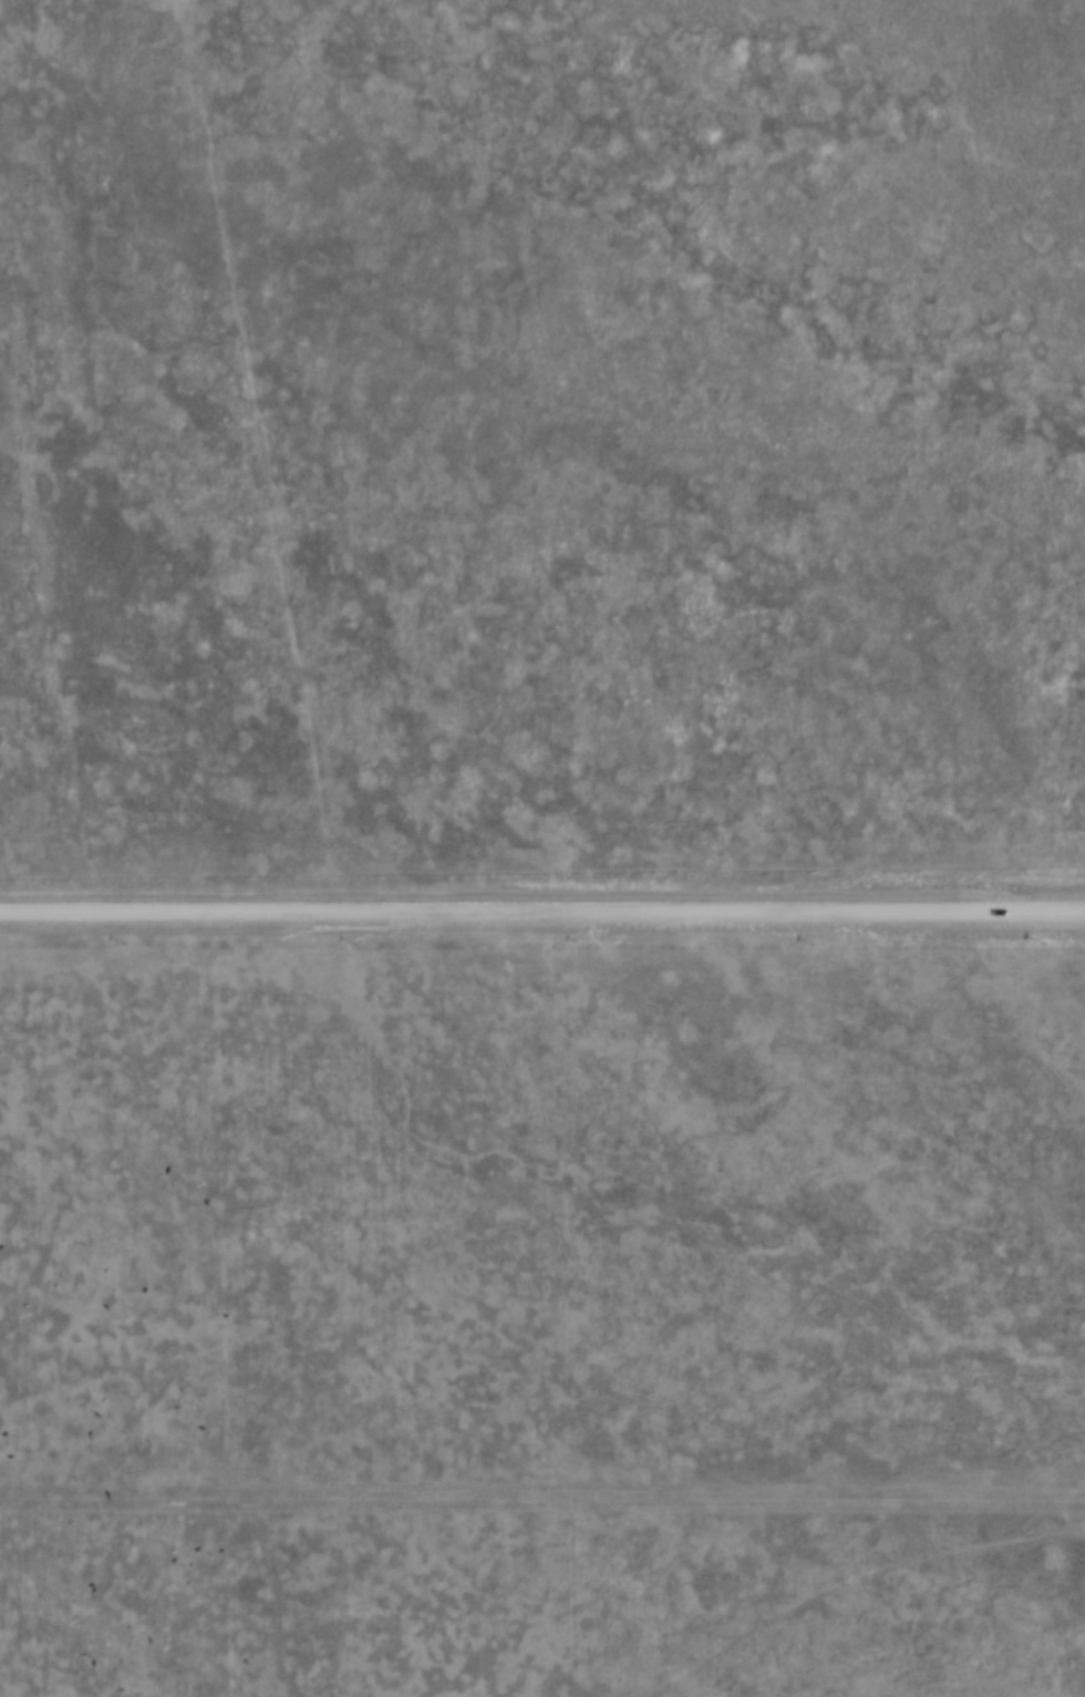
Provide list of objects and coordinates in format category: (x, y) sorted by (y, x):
road: (542, 915)

